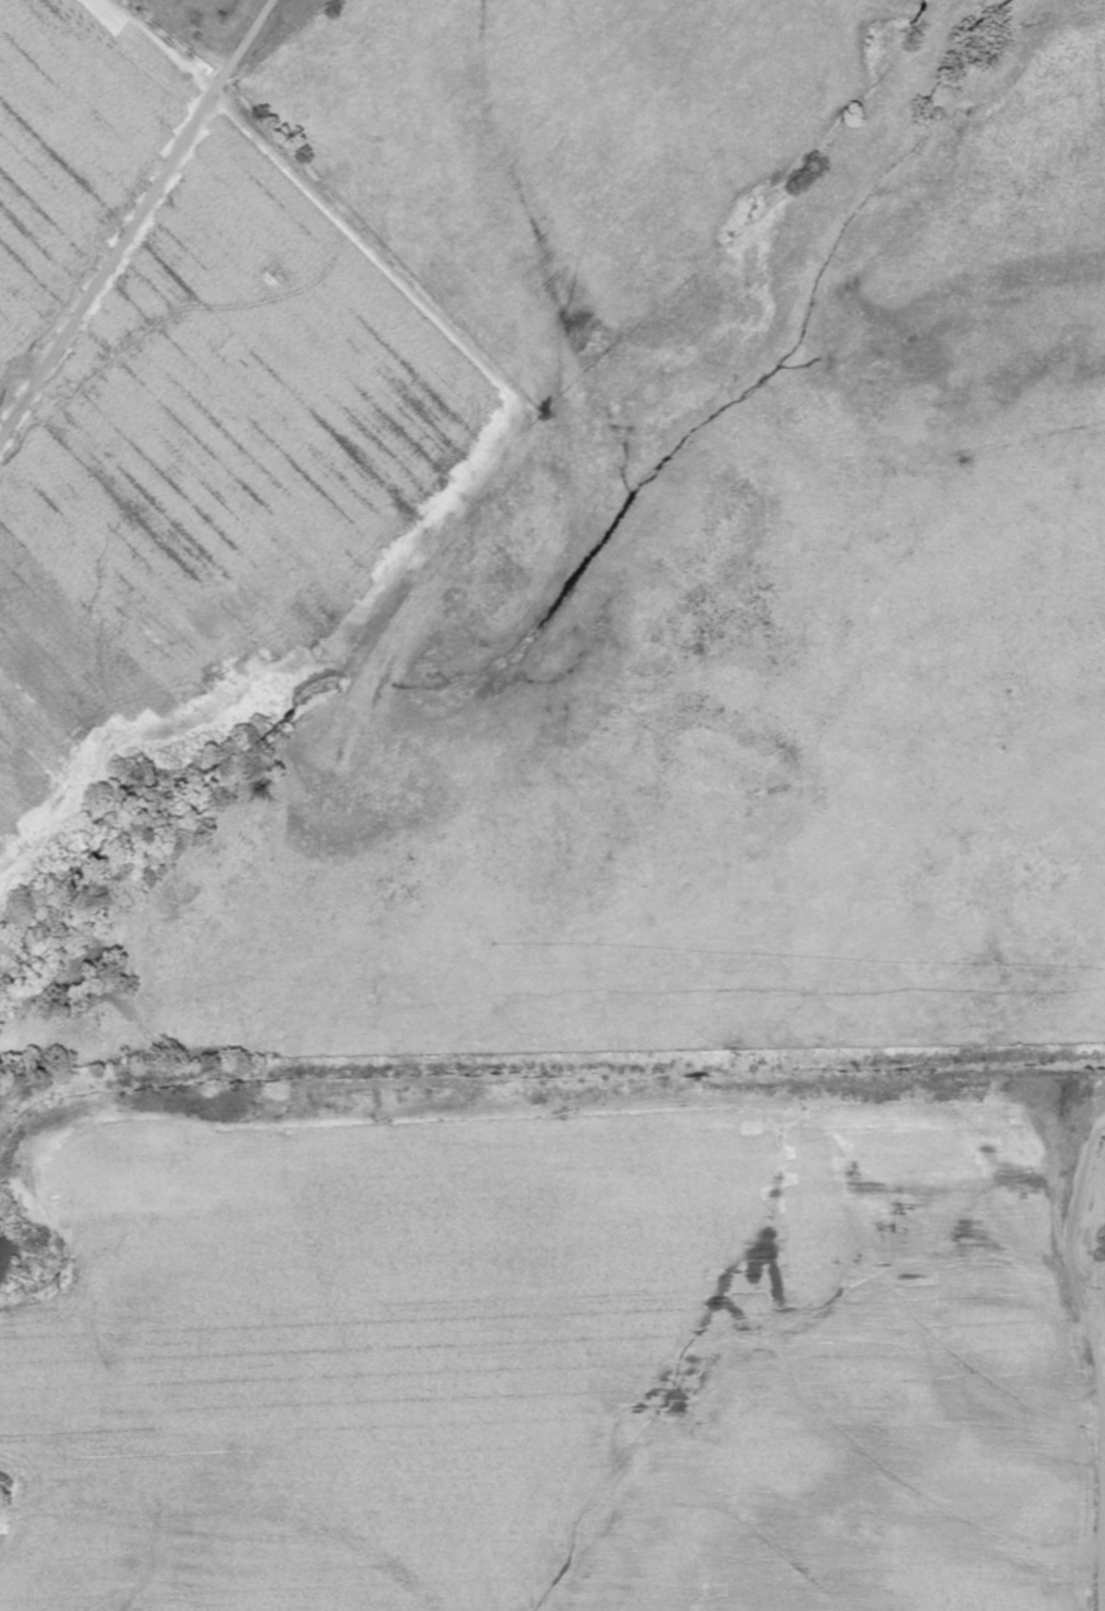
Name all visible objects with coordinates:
road: (1083, 1515)

